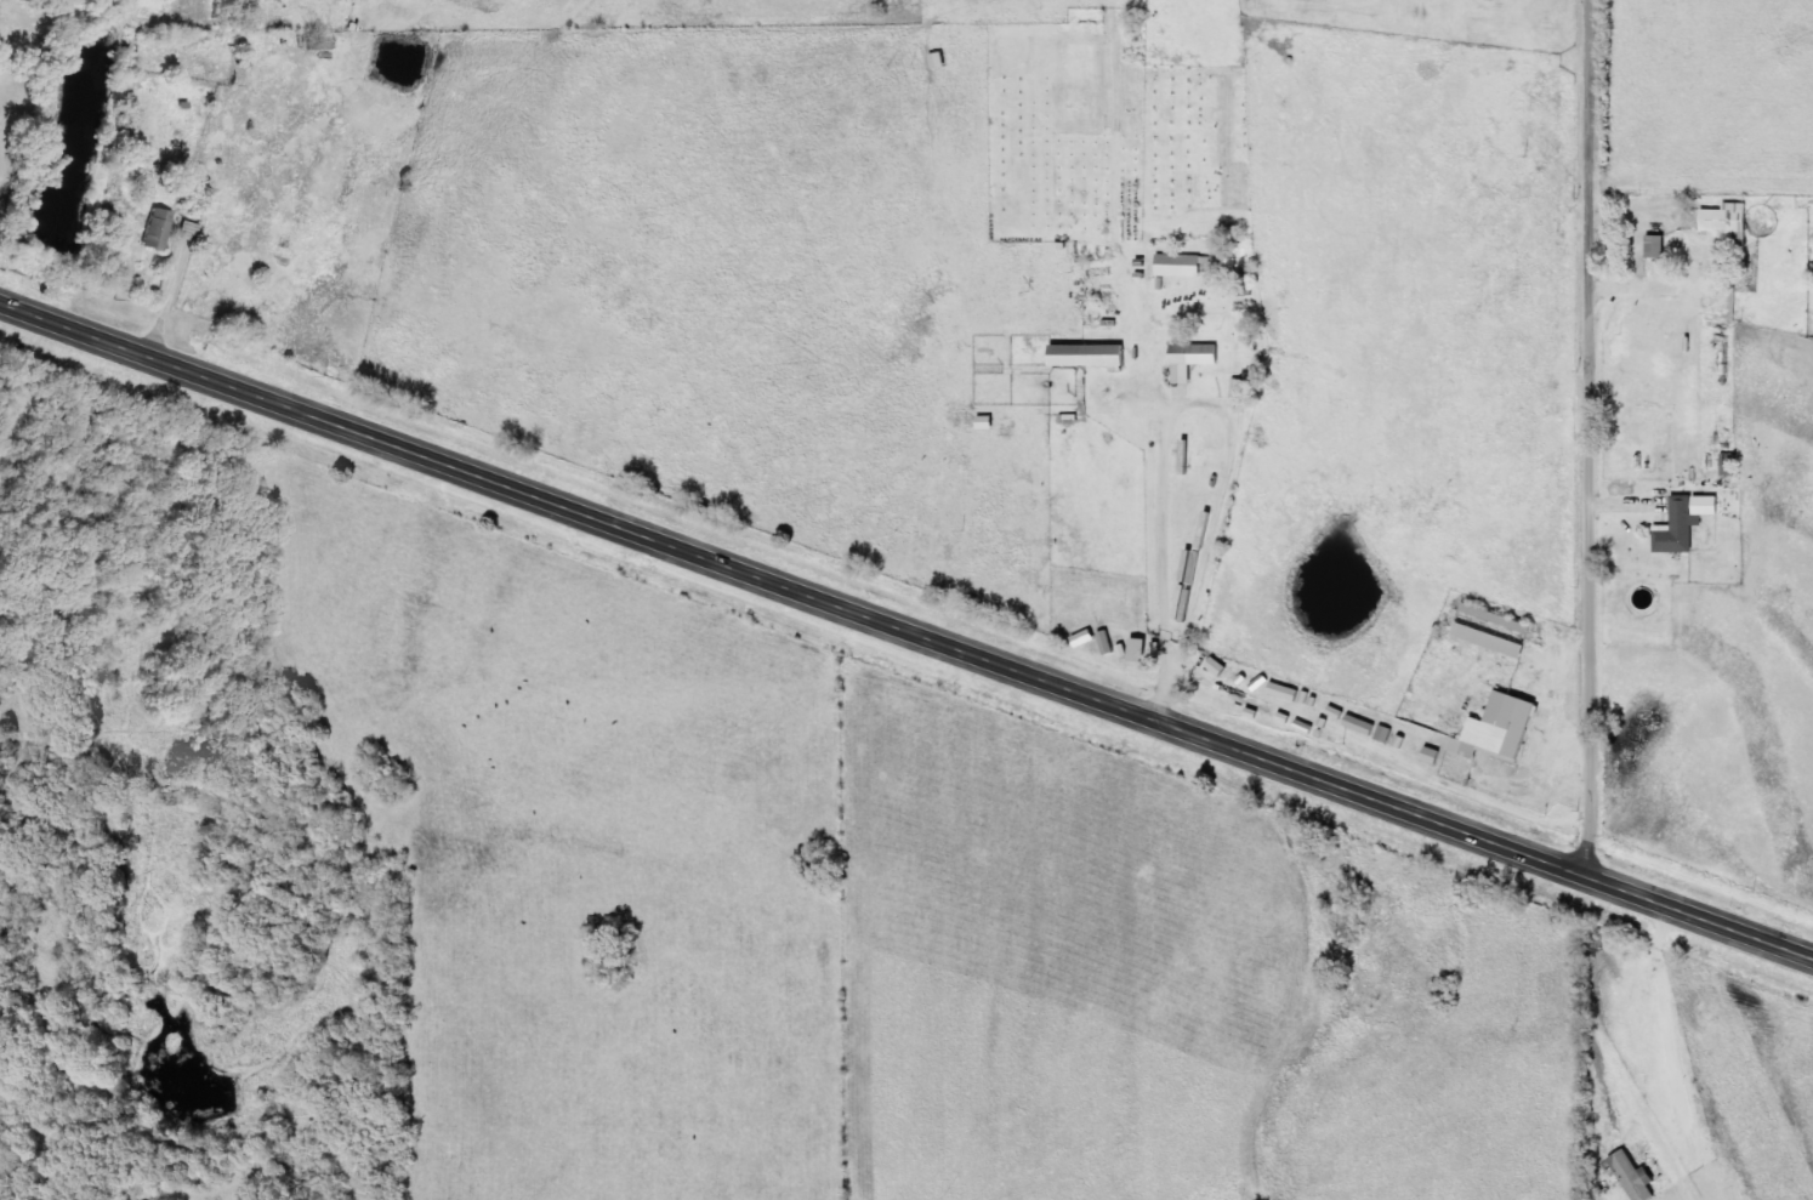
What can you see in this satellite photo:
building: (1733, 227)
building: (160, 229)
building: (1660, 248)
building: (1182, 267)
building: (1093, 357)
building: (1195, 360)
road: (1587, 442)
building: (1710, 507)
building: (1682, 529)
road: (905, 637)
building: (1494, 642)
building: (1143, 652)
building: (1221, 667)
building: (1364, 726)
building: (1502, 732)
building: (1436, 756)
building: (1638, 1177)

